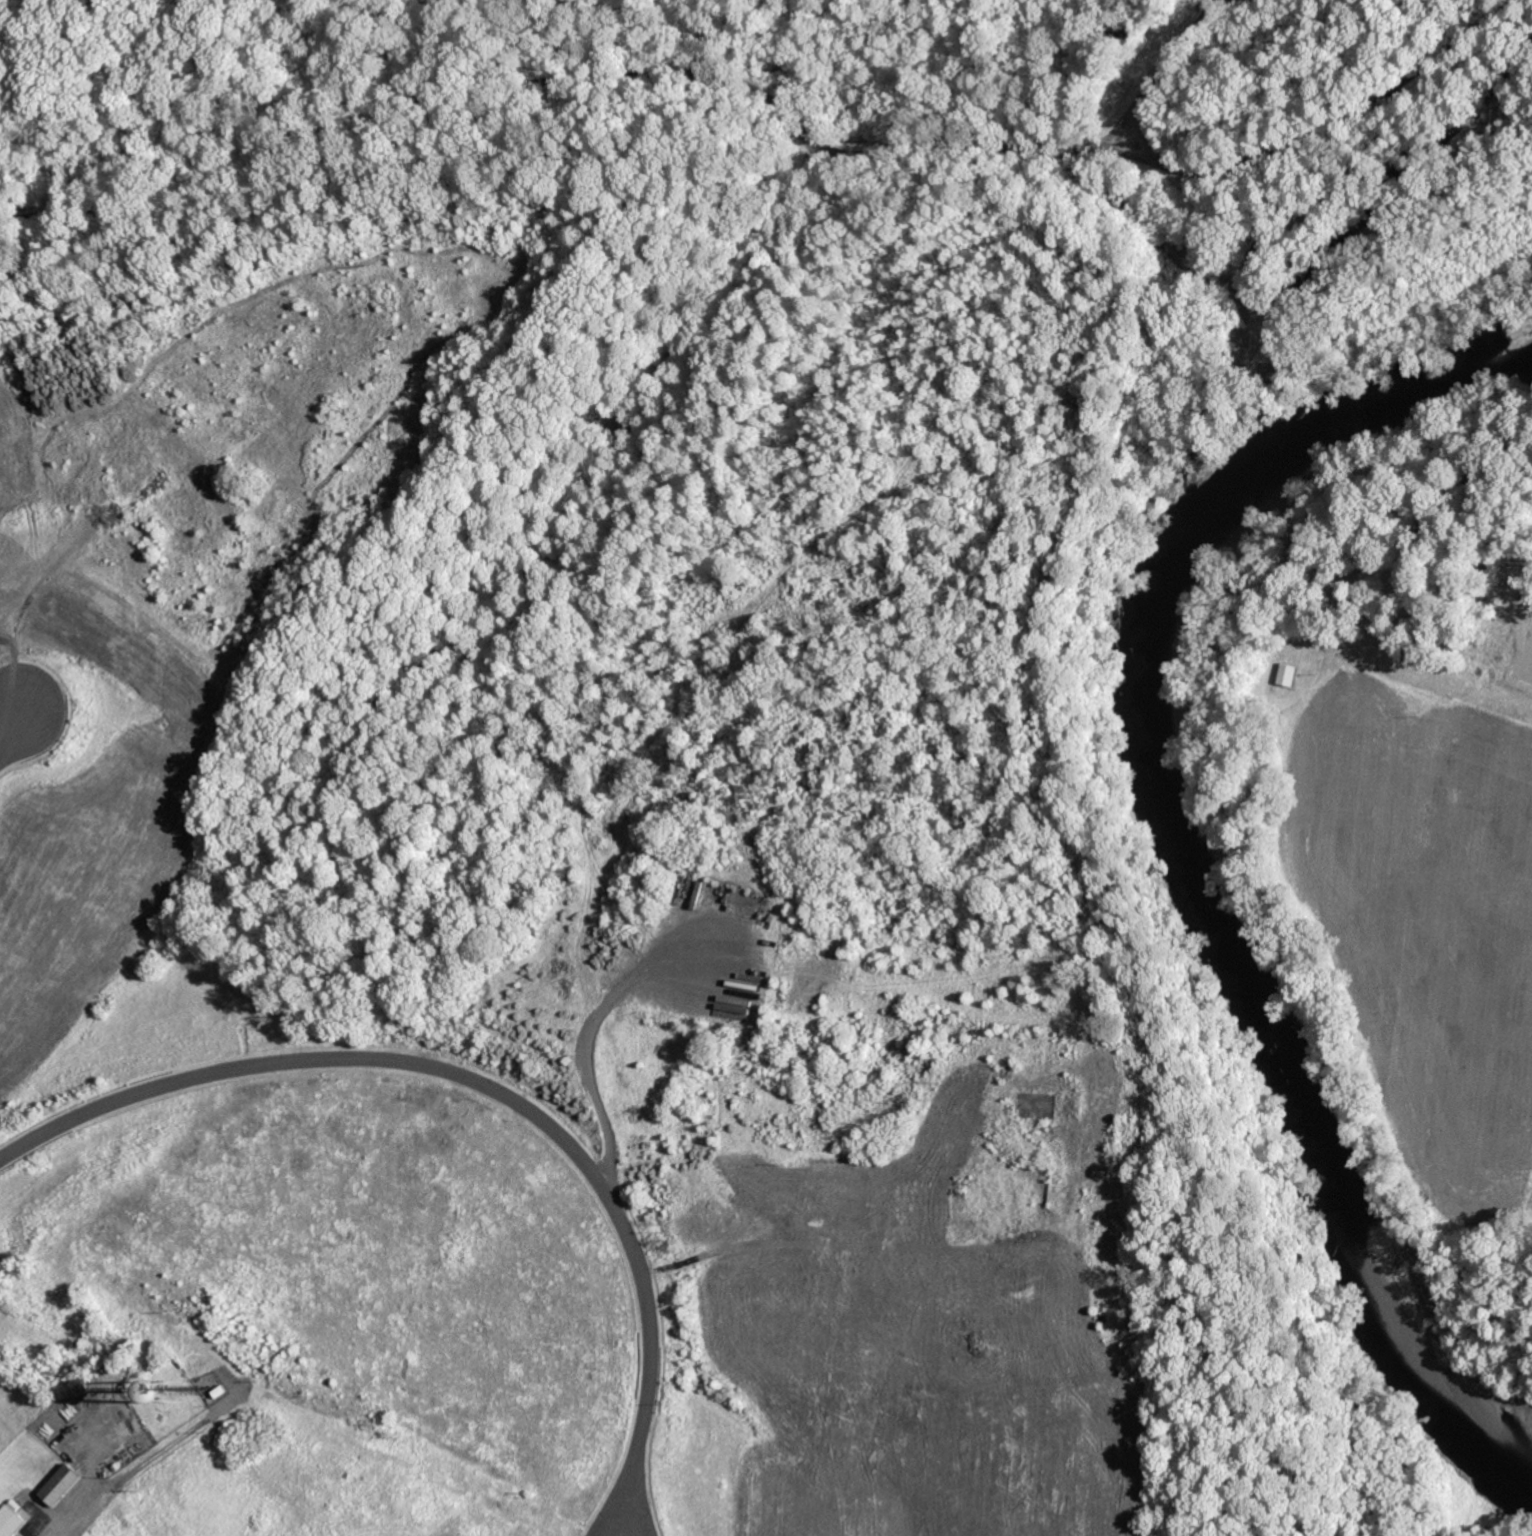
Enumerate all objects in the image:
road: (1170, 60)
road: (979, 72)
road: (498, 93)
road: (1126, 136)
road: (1267, 149)
road: (8, 728)
river: (1173, 825)
road: (486, 1091)
water tower: (172, 1393)
building: (62, 1483)
road: (94, 1510)
building: (12, 1519)

